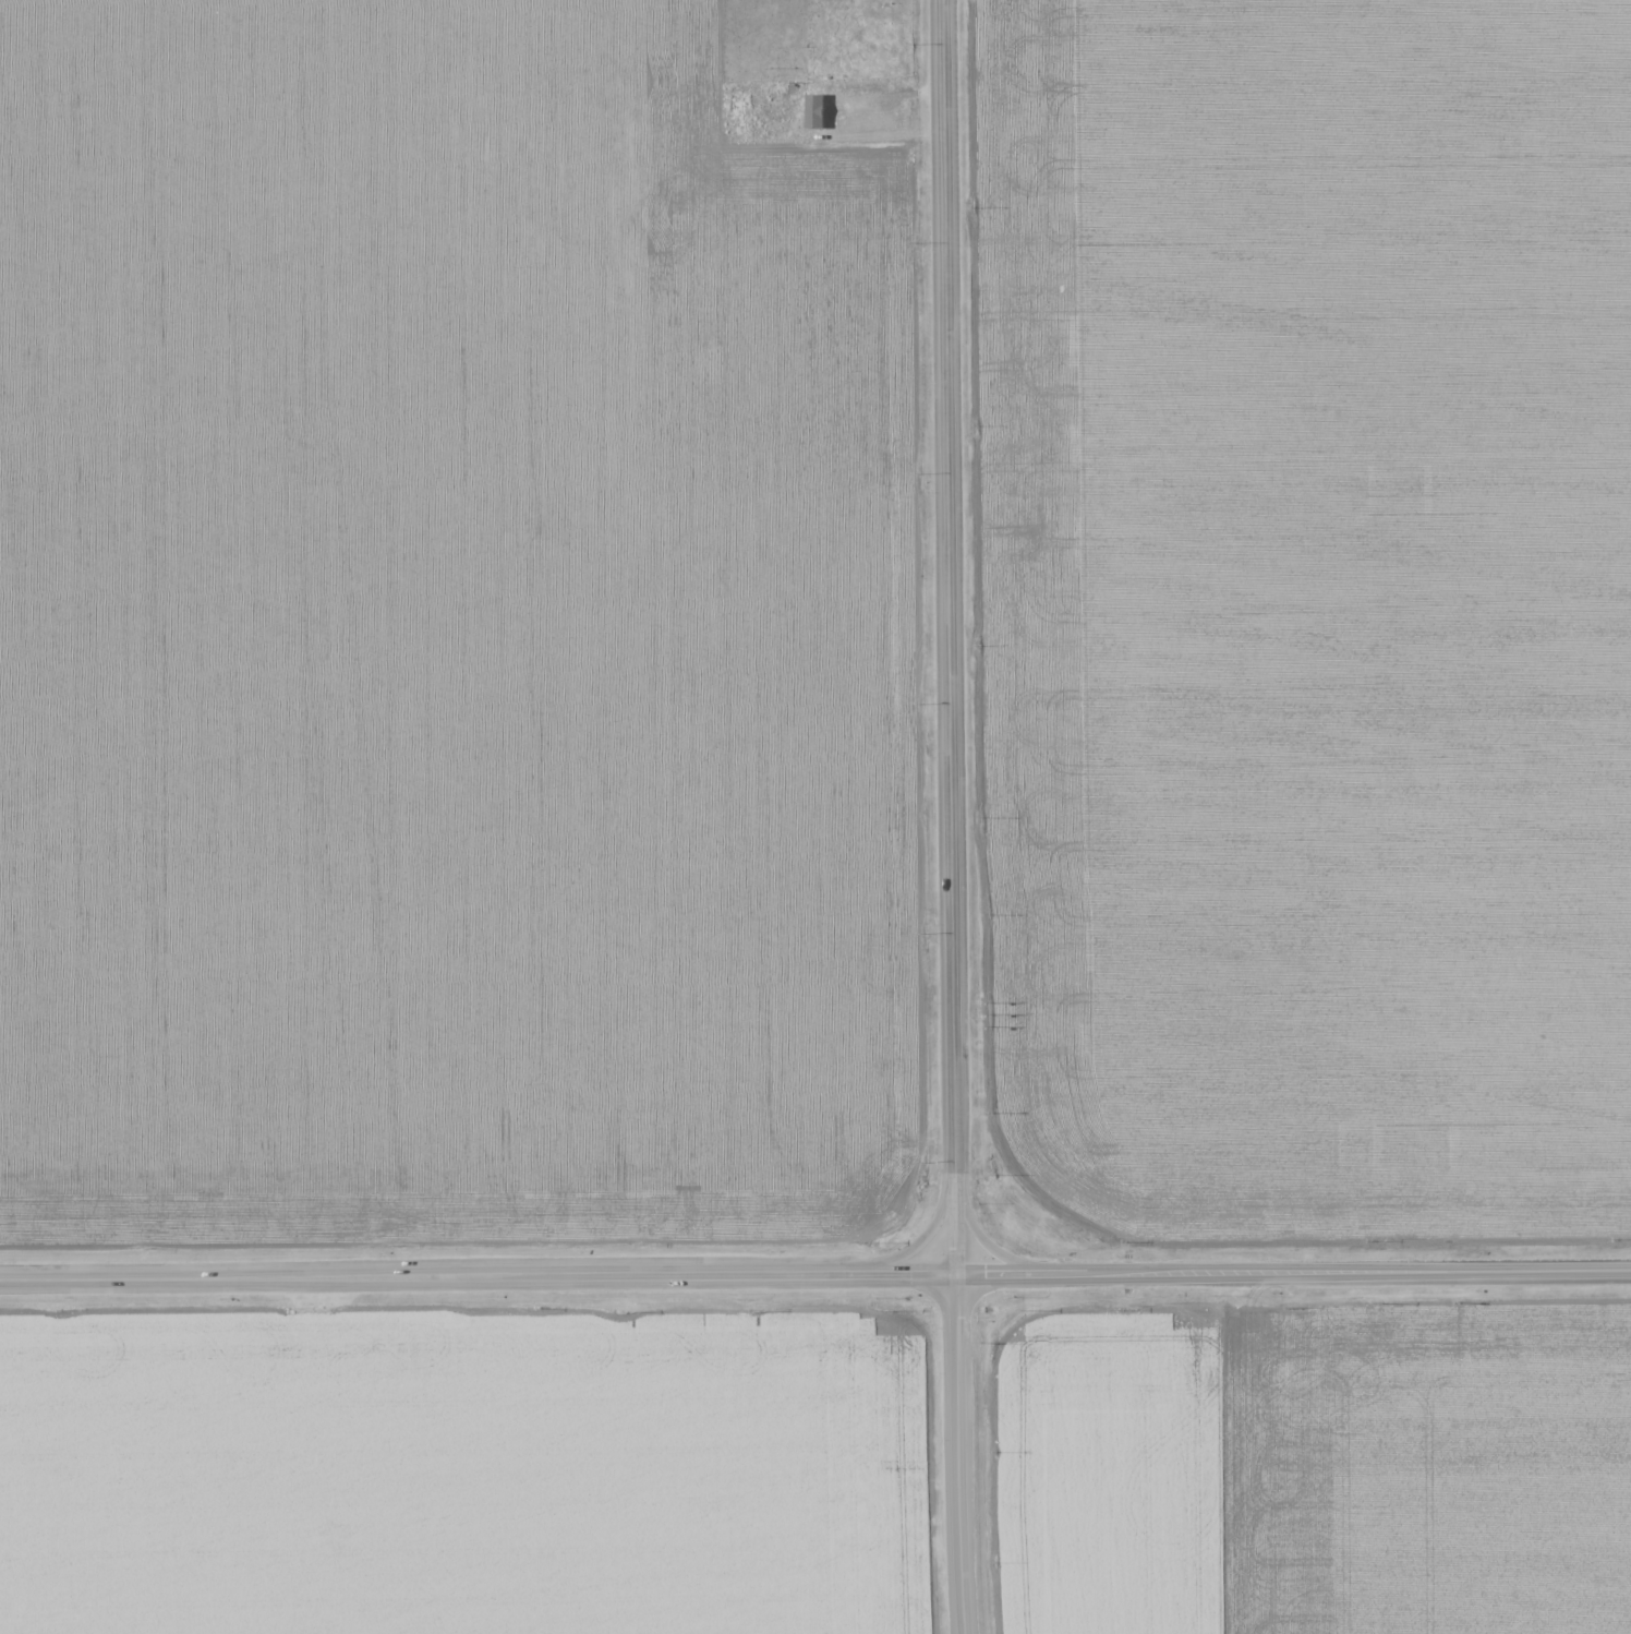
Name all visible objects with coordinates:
road: (951, 589)
road: (955, 1226)
road: (926, 1237)
road: (986, 1238)
road: (1292, 1272)
road: (913, 1274)
road: (435, 1276)
road: (957, 1454)

